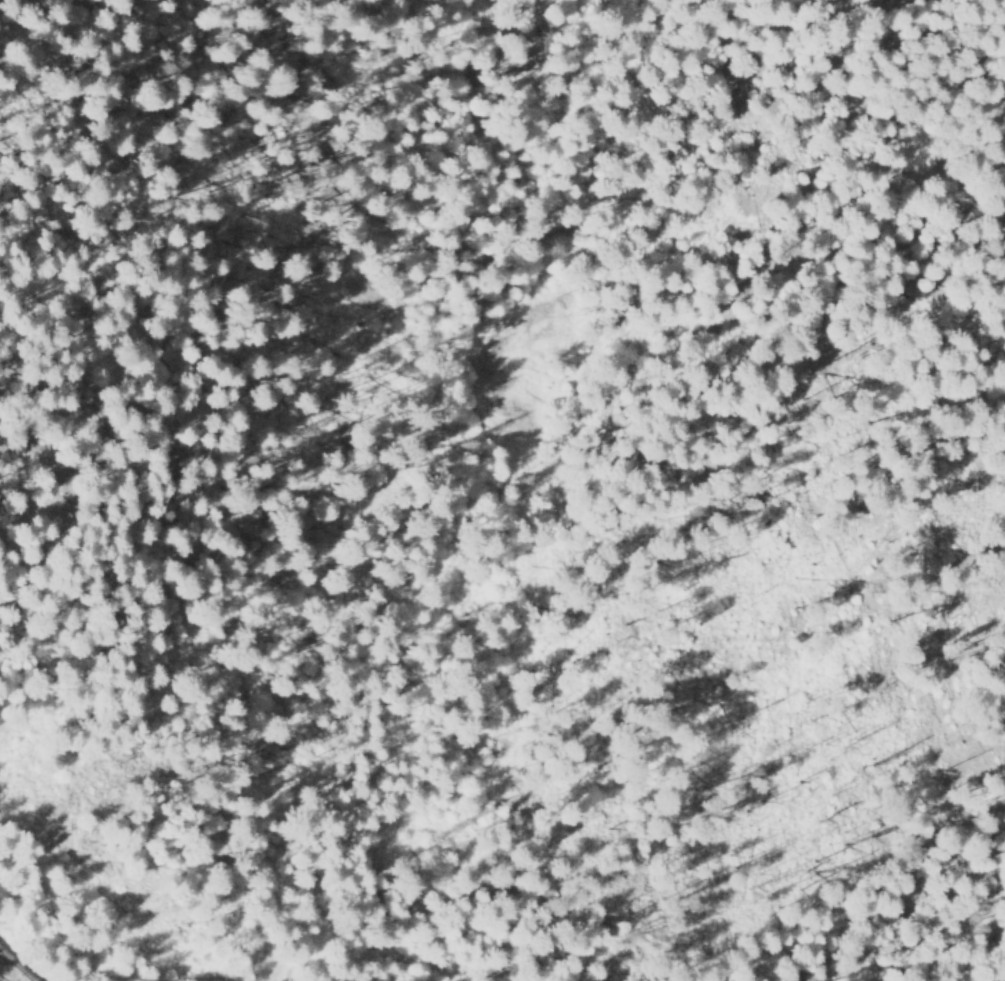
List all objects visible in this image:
road: (67, 945)

